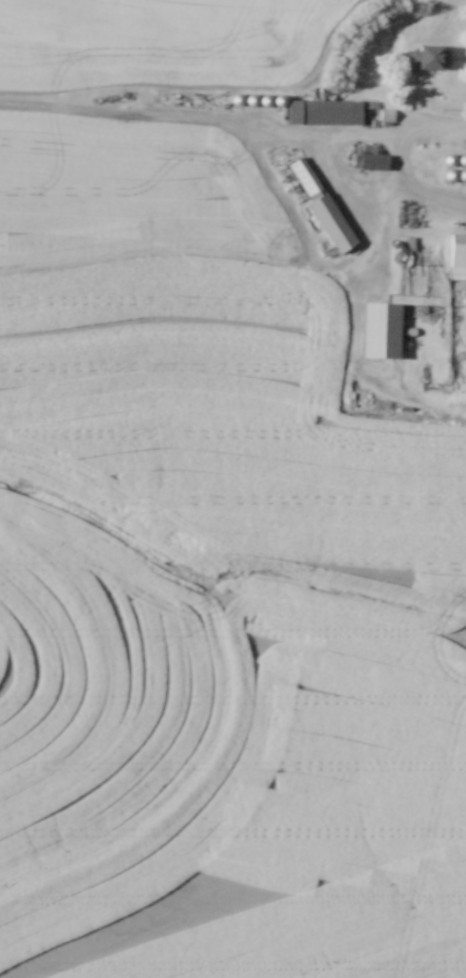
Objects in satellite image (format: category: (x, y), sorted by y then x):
building: (426, 55)
building: (319, 110)
road: (437, 132)
building: (319, 205)
building: (456, 255)
building: (375, 328)

